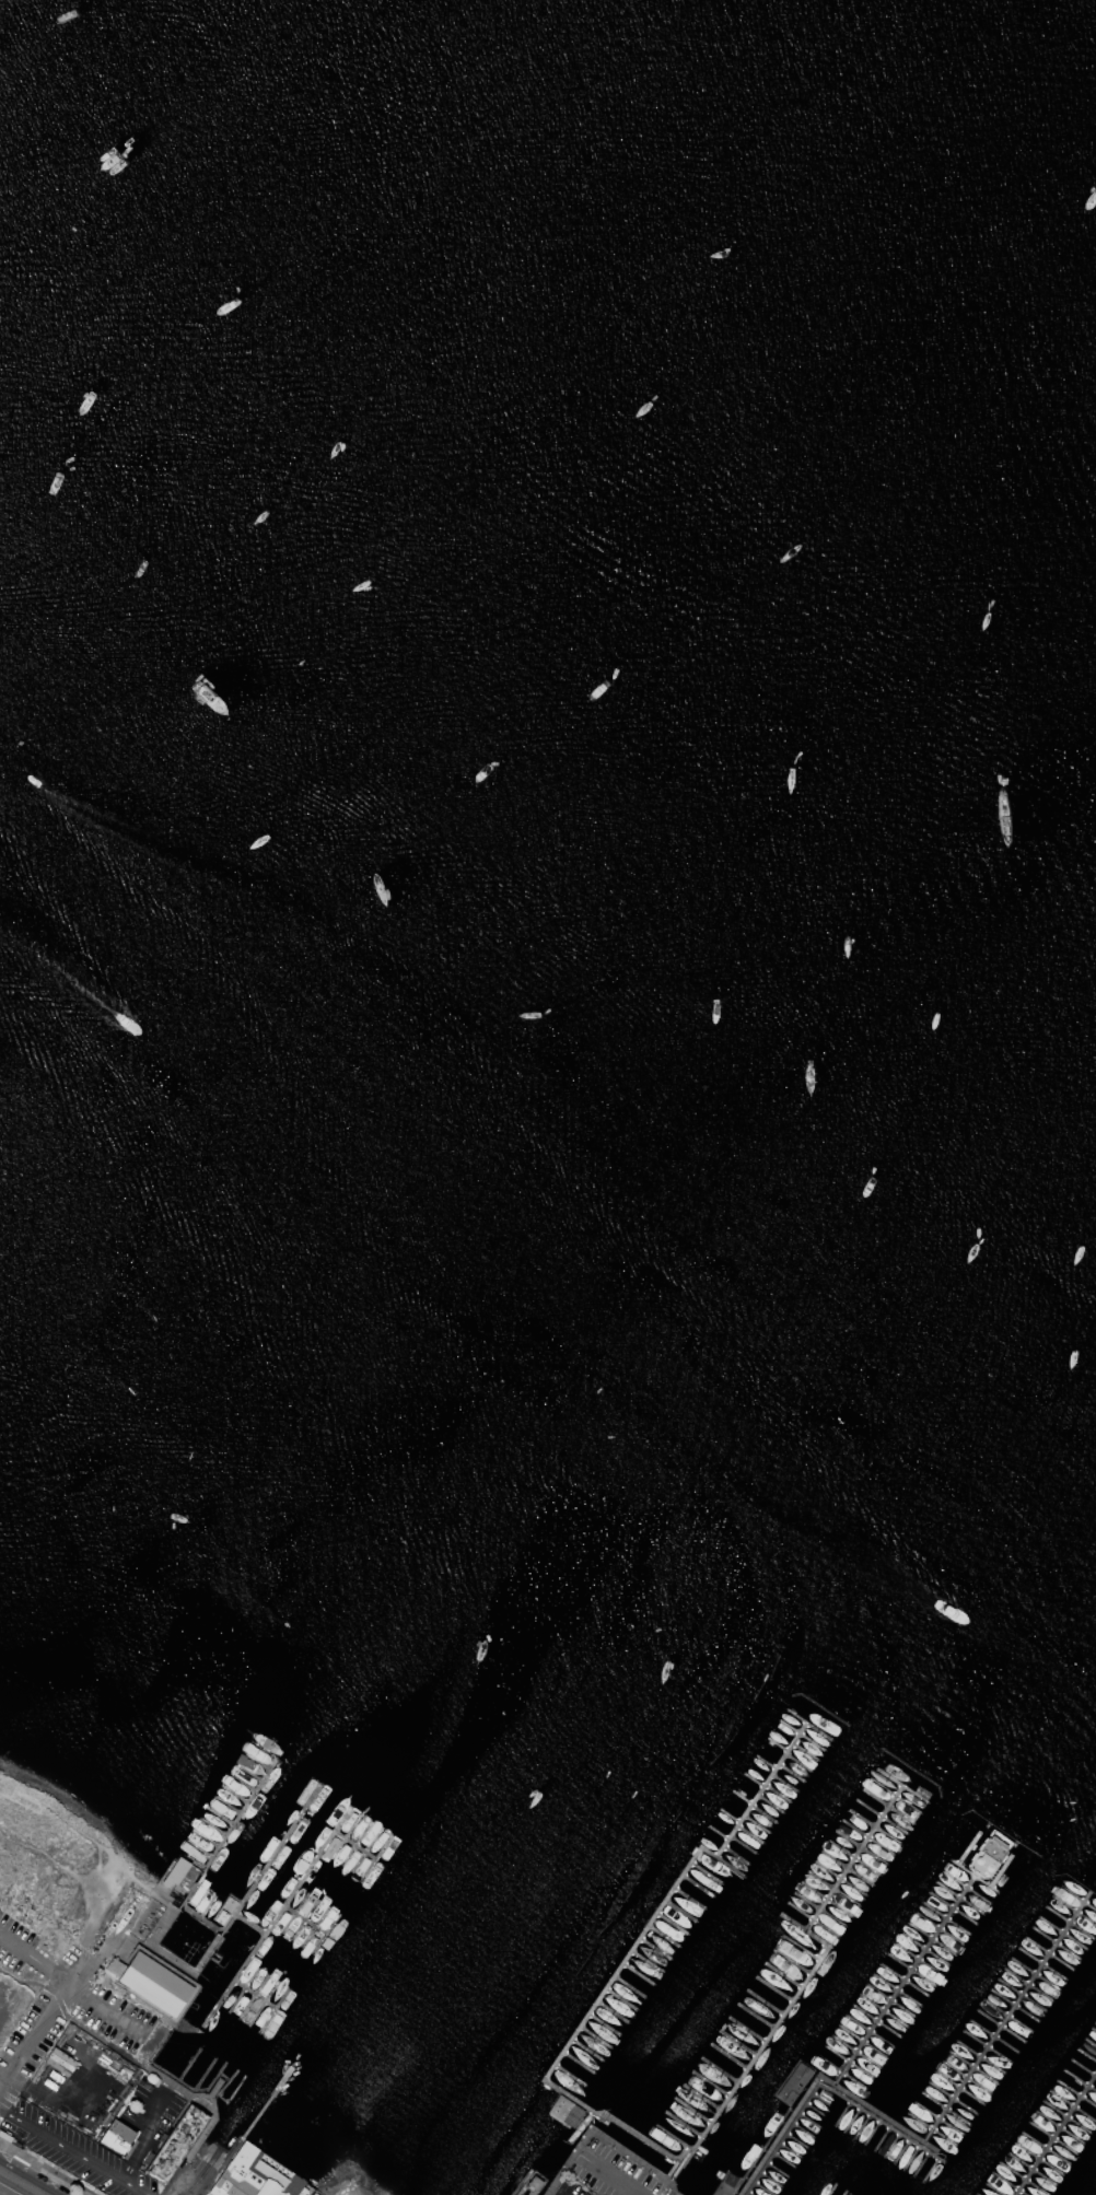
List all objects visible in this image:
pier: (241, 1817)
pier: (285, 1843)
road: (100, 1846)
pier: (363, 1852)
building: (175, 1869)
pier: (315, 1870)
pier: (311, 1924)
road: (13, 1945)
pier: (261, 1946)
pier: (633, 1952)
road: (47, 1969)
pier: (809, 1977)
building: (154, 1985)
pier: (909, 1986)
road: (74, 1987)
pier: (255, 1996)
parking lot: (43, 2011)
road: (110, 2011)
parking lot: (109, 2016)
road: (69, 2017)
road: (44, 2018)
pier: (1008, 2025)
building: (0, 2038)
pier: (826, 2085)
road: (213, 2087)
road: (207, 2097)
parking lot: (4, 2101)
pier: (564, 2109)
building: (563, 2111)
pier: (253, 2118)
road: (142, 2134)
pier: (1057, 2135)
parking lot: (51, 2137)
building: (116, 2137)
road: (602, 2137)
building: (174, 2141)
railway: (72, 2152)
road: (72, 2152)
road: (583, 2156)
road: (609, 2174)
building: (242, 2175)
road: (173, 2176)
road: (194, 2178)
road: (21, 2183)
road: (649, 2184)
building: (294, 2187)
road: (550, 2192)
road: (553, 2194)

